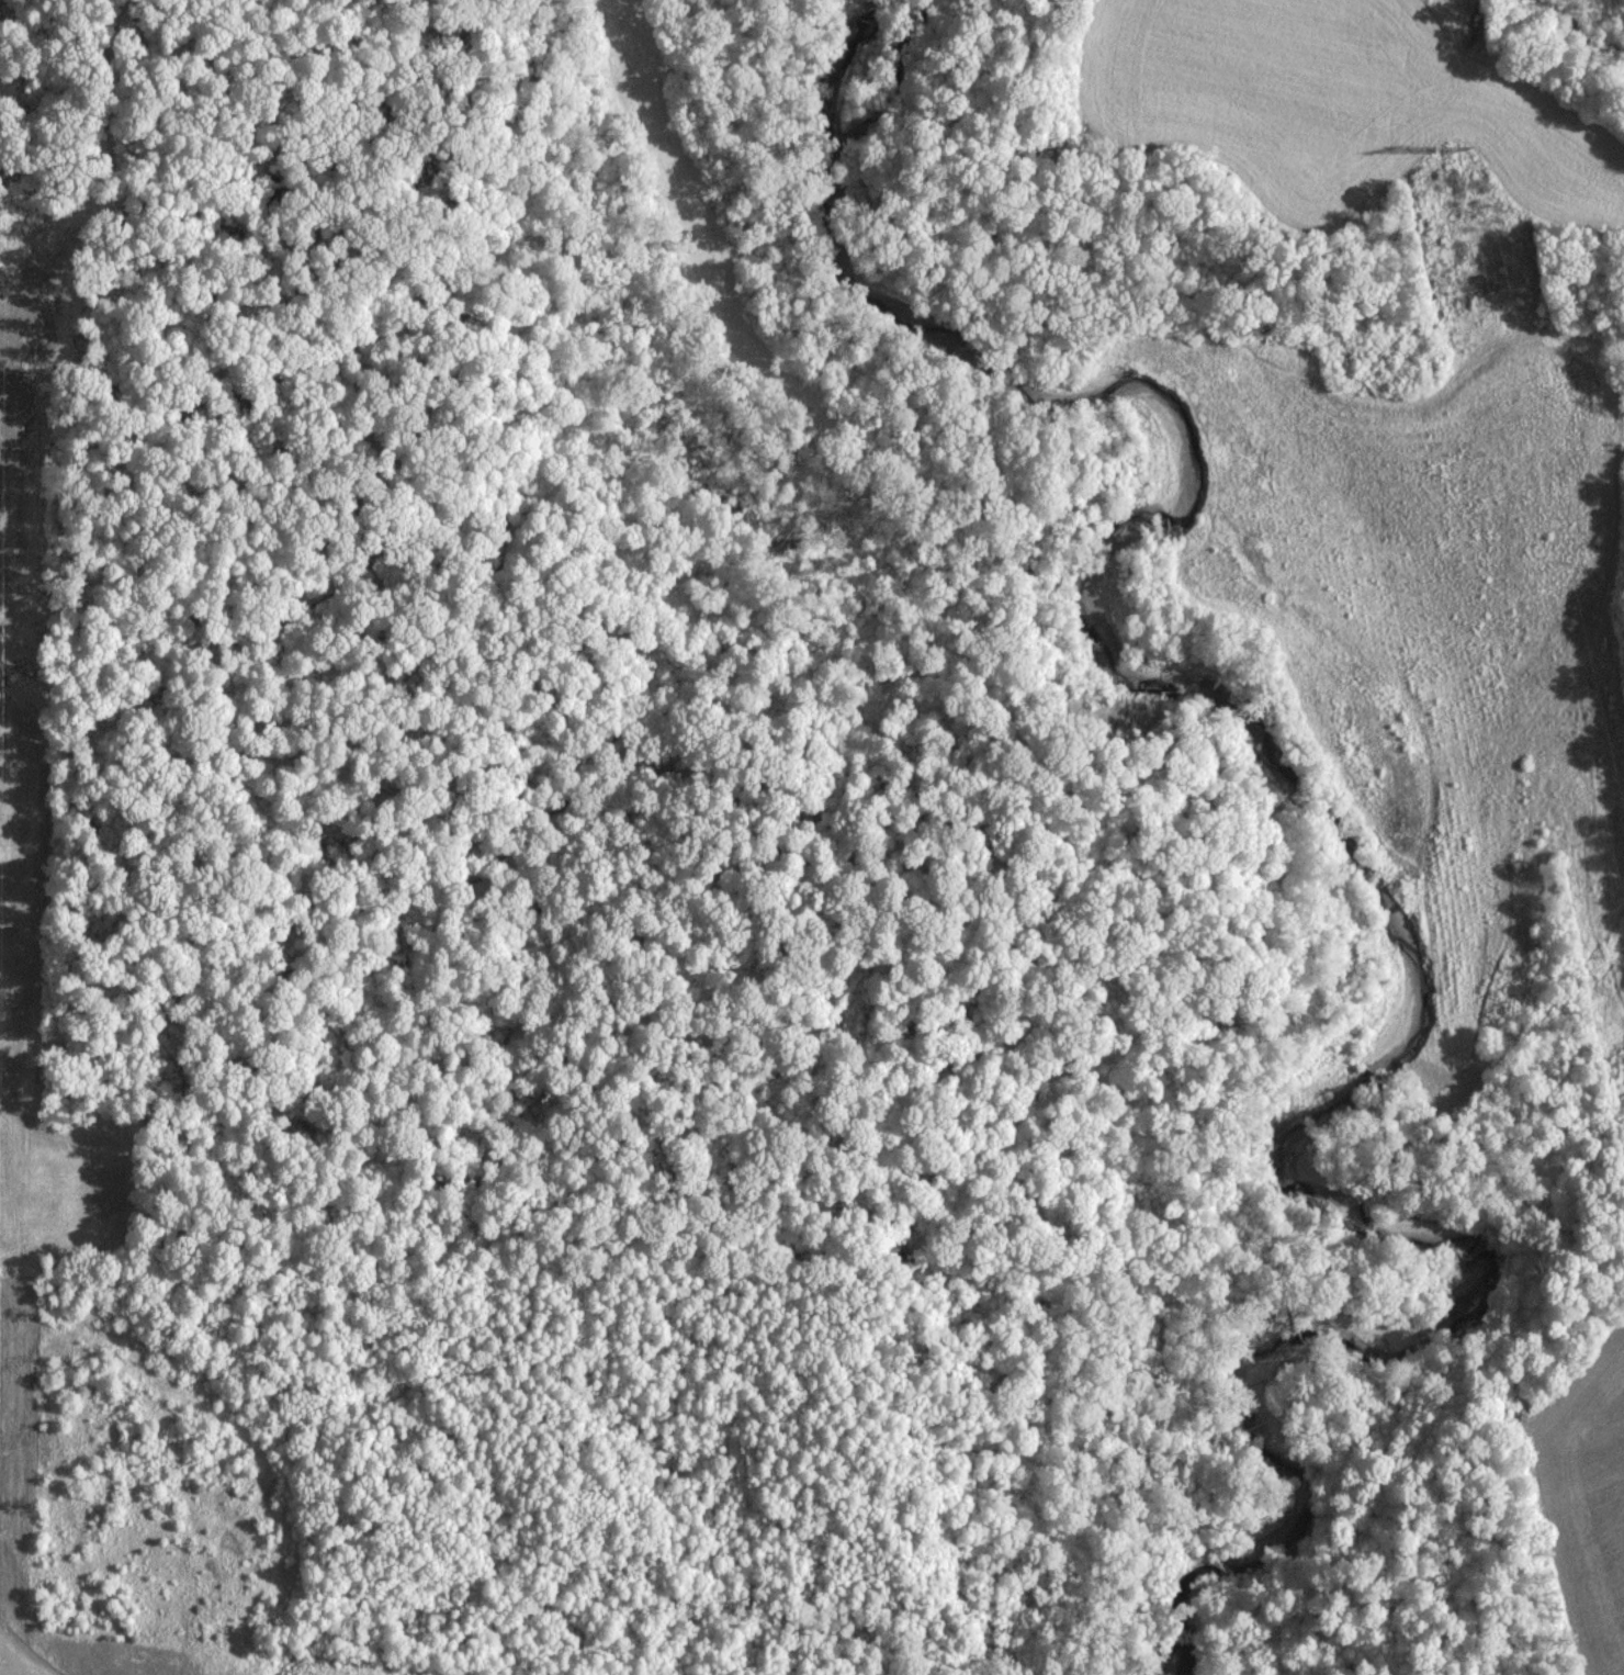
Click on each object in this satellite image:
power tower: (1459, 147)

